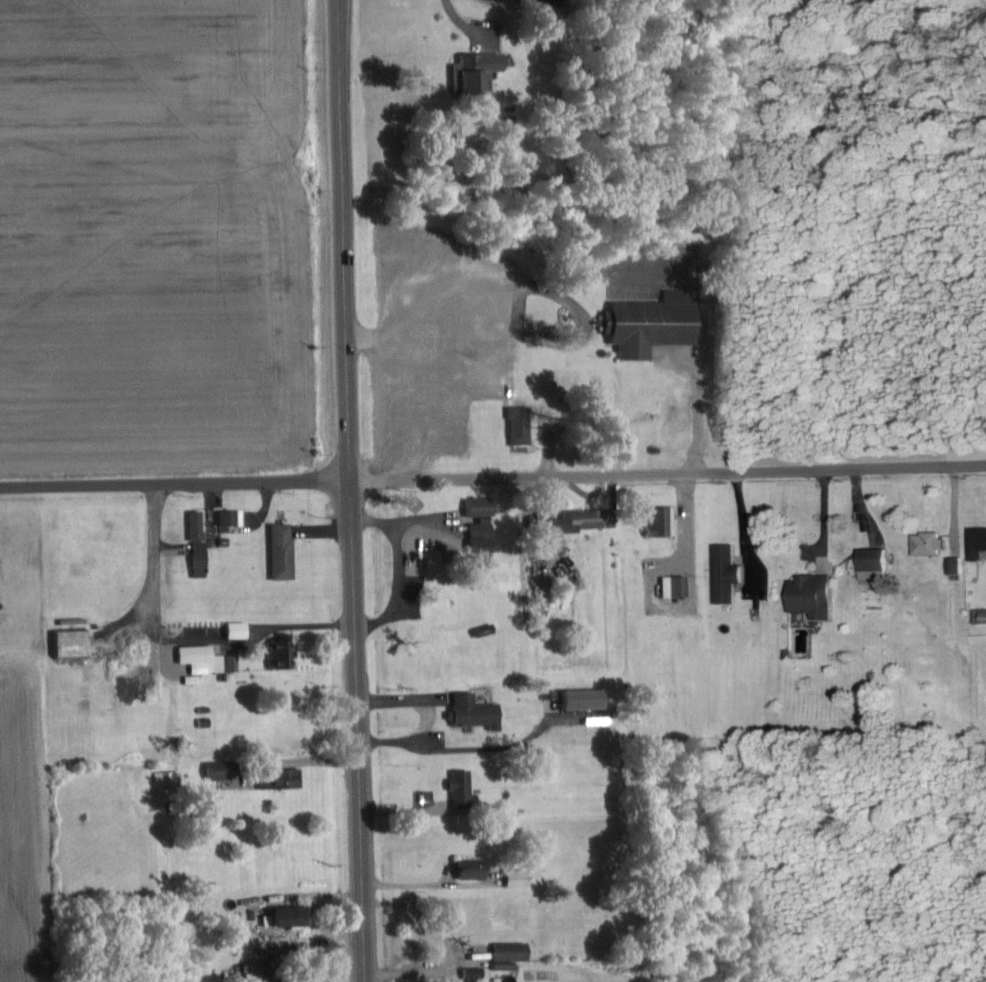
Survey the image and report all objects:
building: (480, 71)
park: (828, 207)
building: (654, 323)
road: (696, 388)
building: (522, 424)
road: (492, 473)
road: (351, 491)
building: (482, 506)
building: (229, 519)
building: (587, 519)
building: (662, 521)
building: (485, 534)
building: (933, 542)
building: (978, 542)
building: (201, 543)
building: (285, 551)
building: (878, 558)
building: (957, 564)
road: (155, 572)
building: (730, 573)
building: (678, 585)
building: (817, 595)
building: (241, 629)
building: (76, 643)
building: (283, 653)
building: (205, 658)
building: (586, 699)
building: (477, 710)
road: (425, 749)
building: (222, 770)
building: (170, 778)
building: (286, 779)
building: (464, 788)
park: (821, 862)
building: (475, 868)
building: (520, 877)
building: (295, 916)
building: (512, 954)
road: (428, 972)
building: (257, 973)
building: (476, 973)
building: (288, 980)

